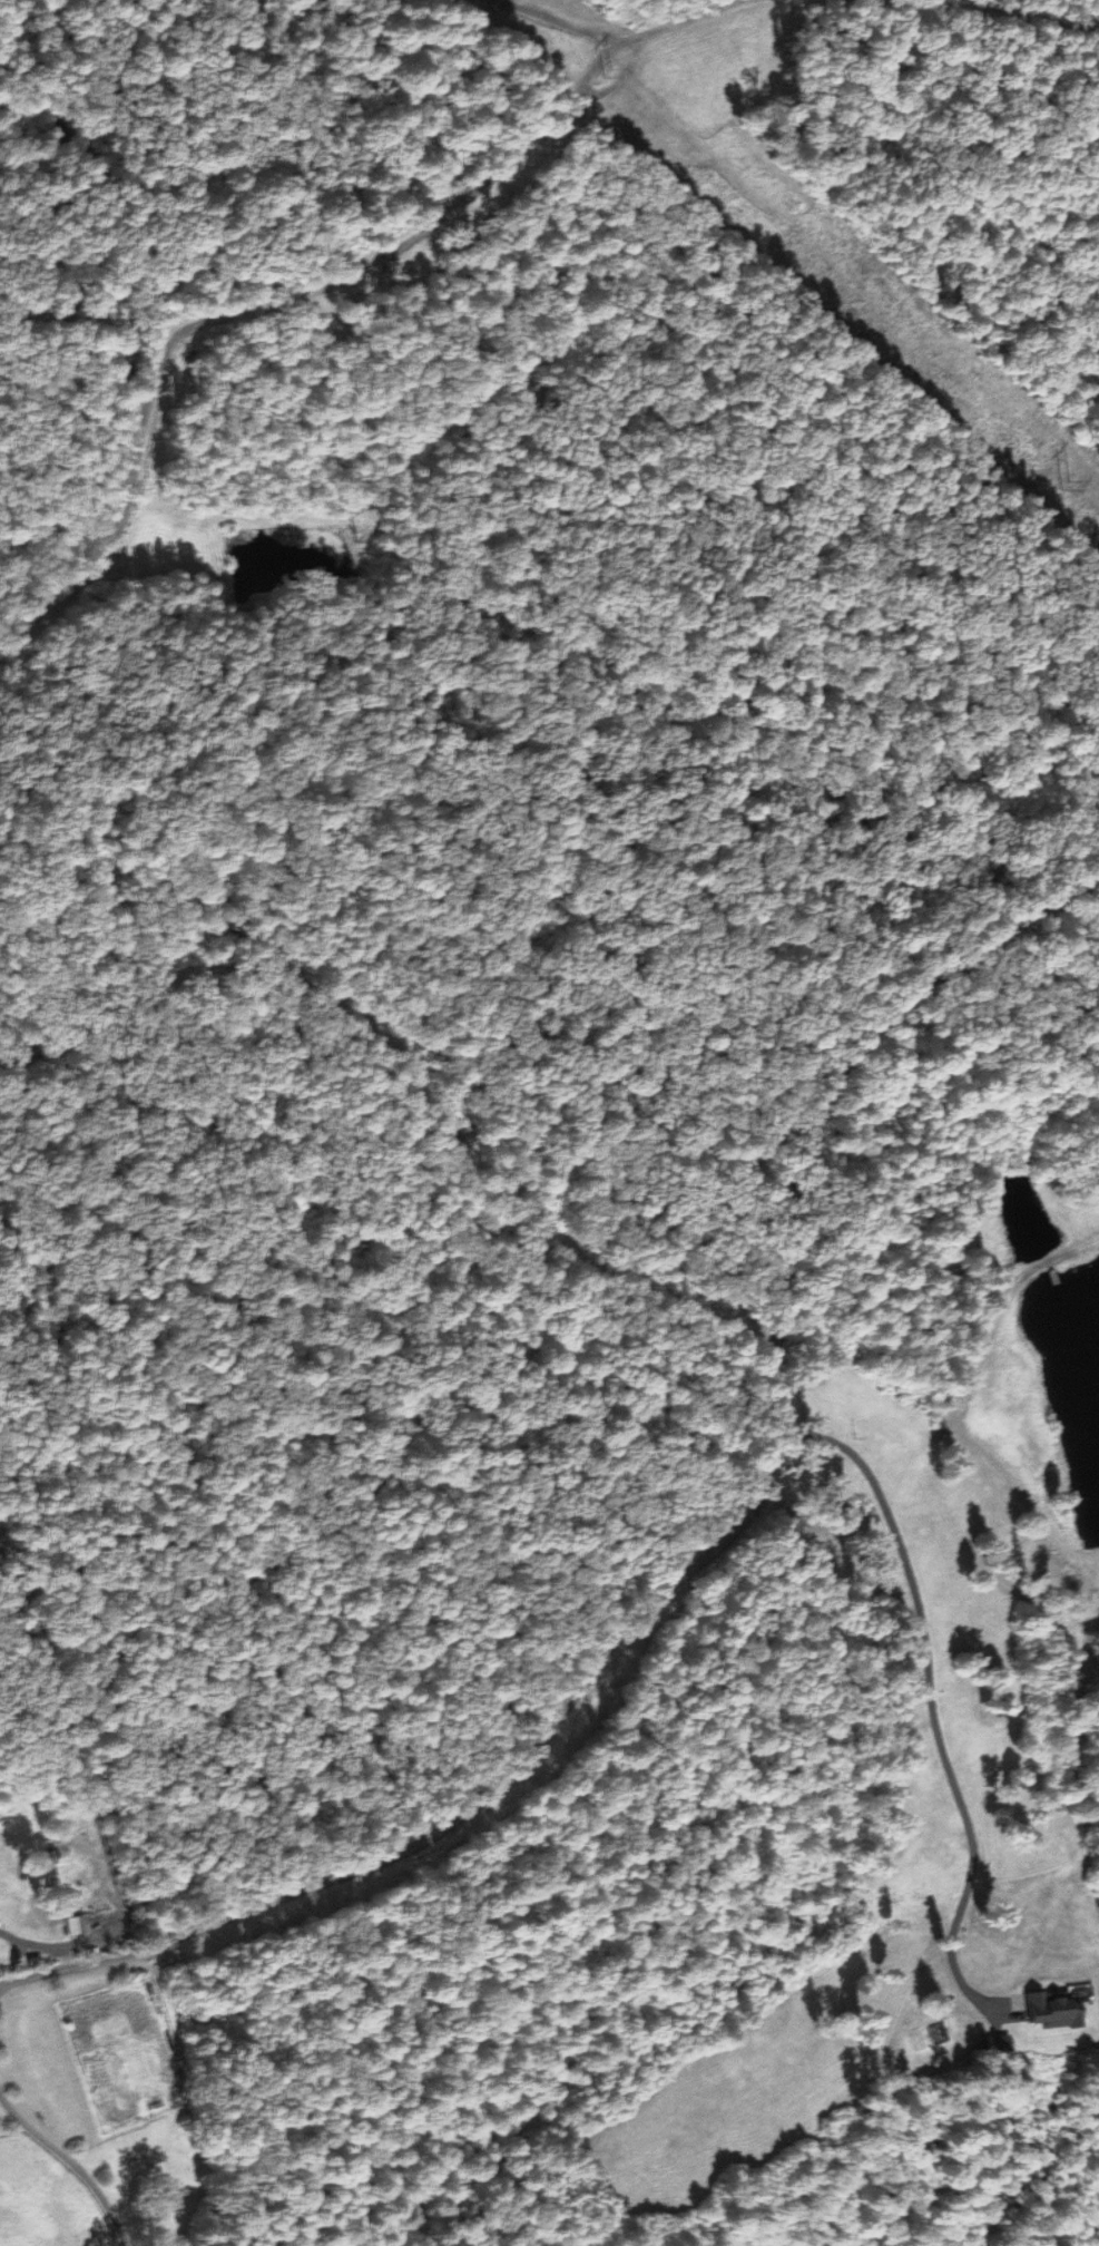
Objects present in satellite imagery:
power tower: (601, 68)
power tower: (1059, 480)
road: (709, 1554)
road: (930, 1699)
road: (69, 1744)
building: (70, 1922)
road: (85, 1940)
road: (70, 2165)

